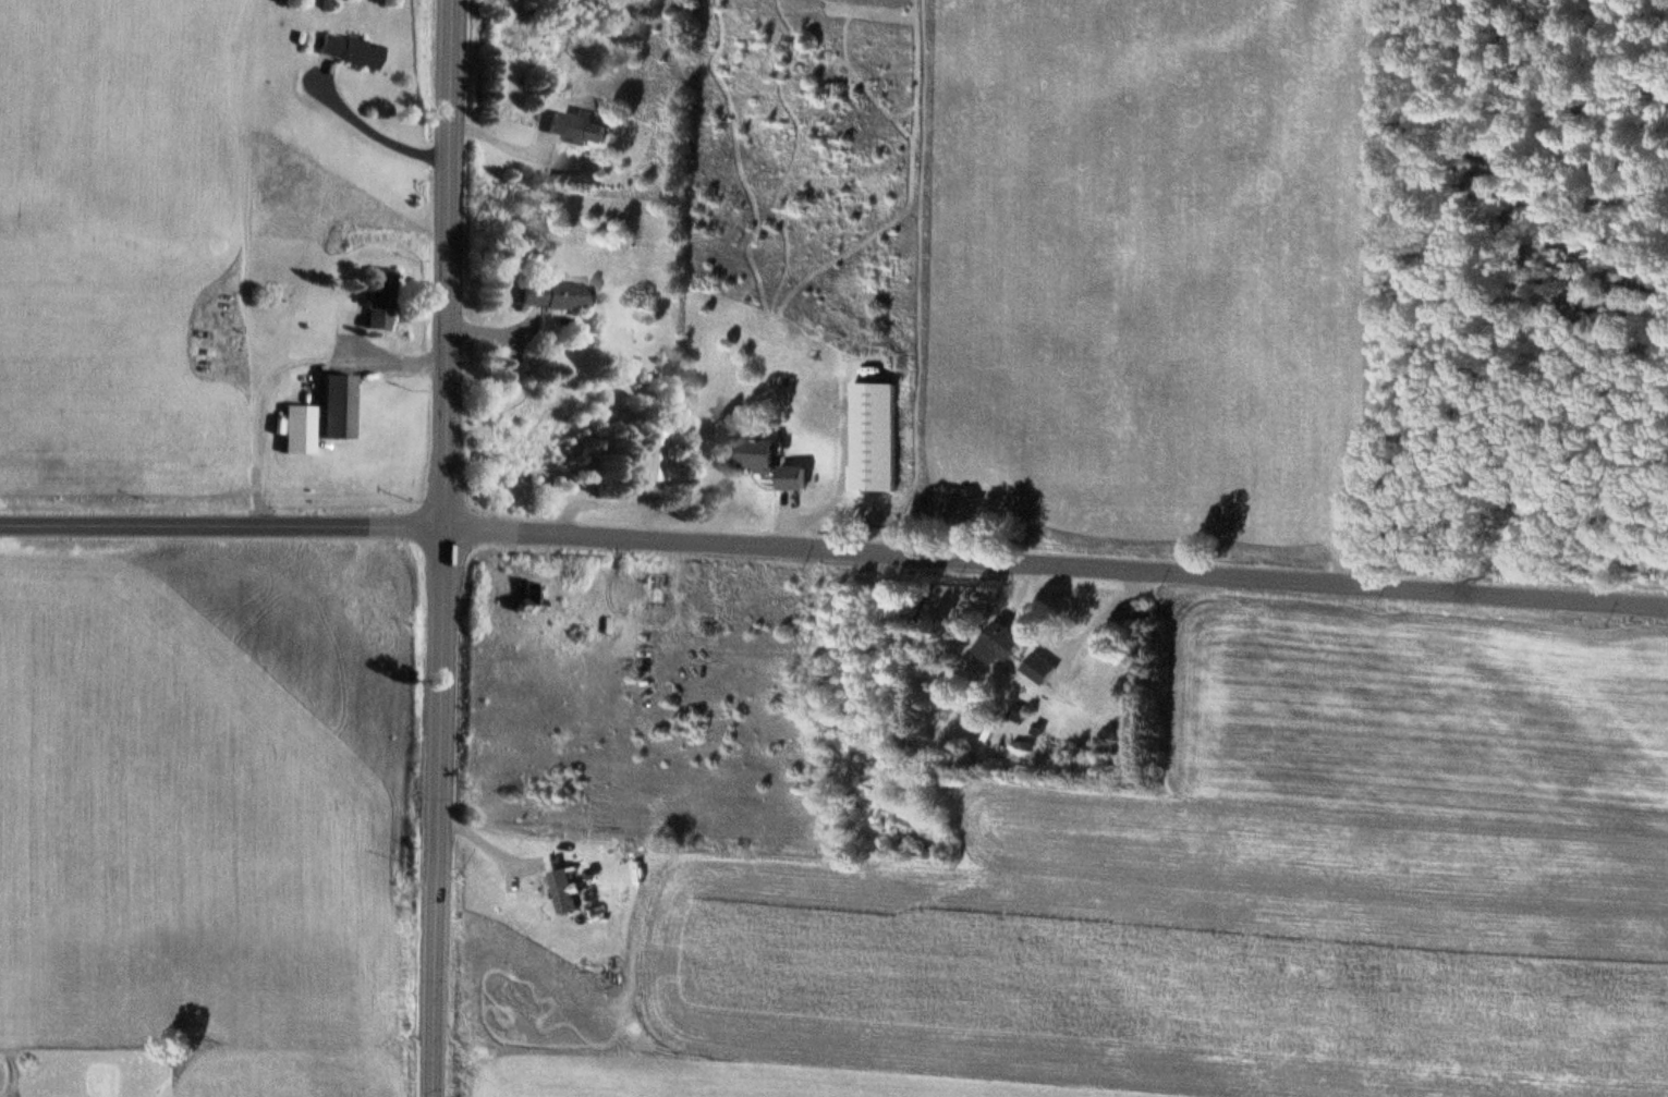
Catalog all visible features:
building: (349, 49)
building: (577, 126)
building: (552, 293)
building: (377, 297)
building: (337, 405)
building: (299, 427)
building: (874, 439)
building: (650, 452)
building: (754, 454)
building: (793, 478)
road: (443, 548)
road: (833, 553)
building: (656, 590)
building: (524, 597)
building: (1002, 644)
building: (504, 887)

